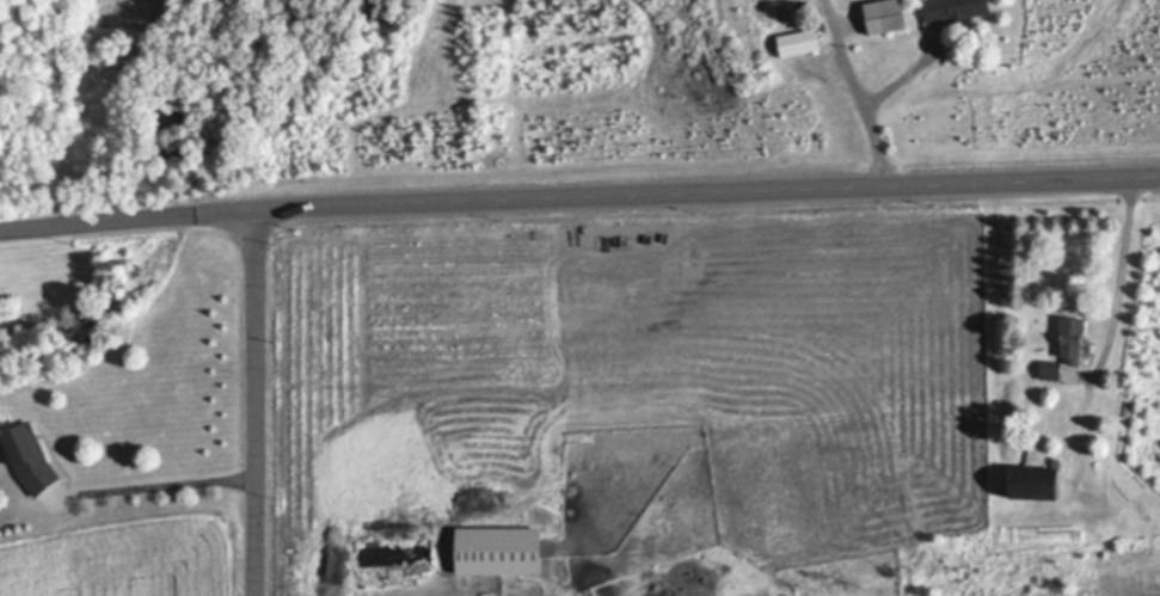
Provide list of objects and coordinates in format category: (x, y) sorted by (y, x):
building: (956, 10)
building: (886, 14)
building: (800, 41)
road: (863, 92)
road: (579, 196)
road: (1123, 260)
building: (1073, 336)
building: (1052, 369)
road: (256, 403)
building: (32, 454)
building: (1038, 481)
building: (507, 552)

